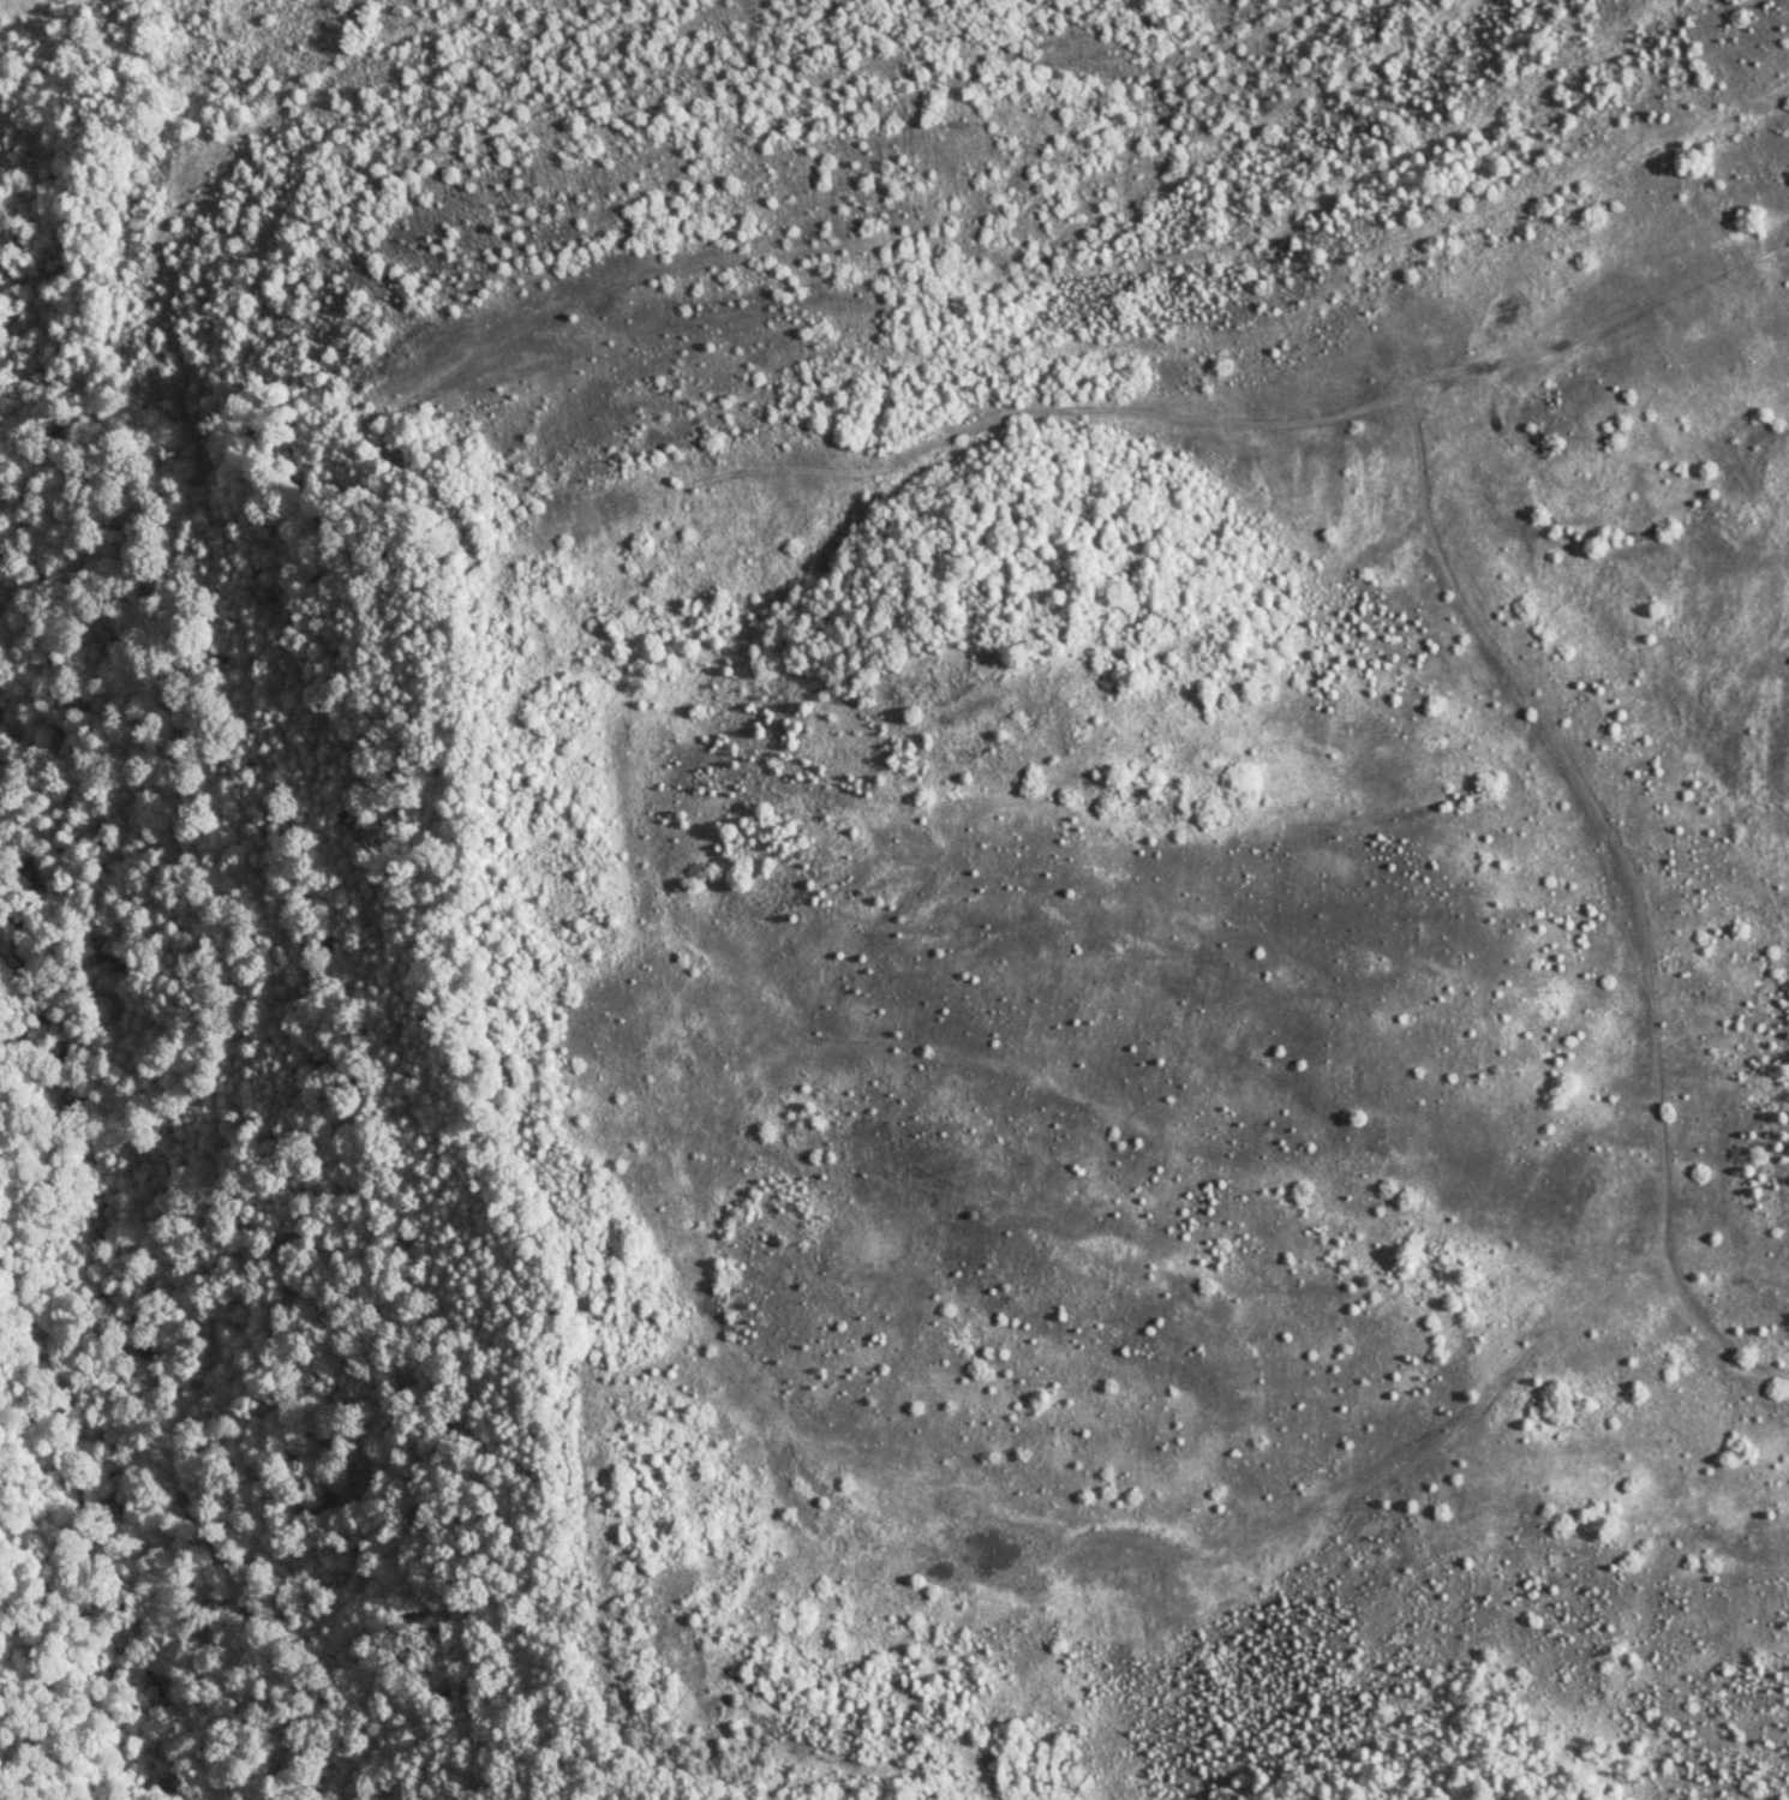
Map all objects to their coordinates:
quarry: (25, 35)
quarry: (1156, 839)

